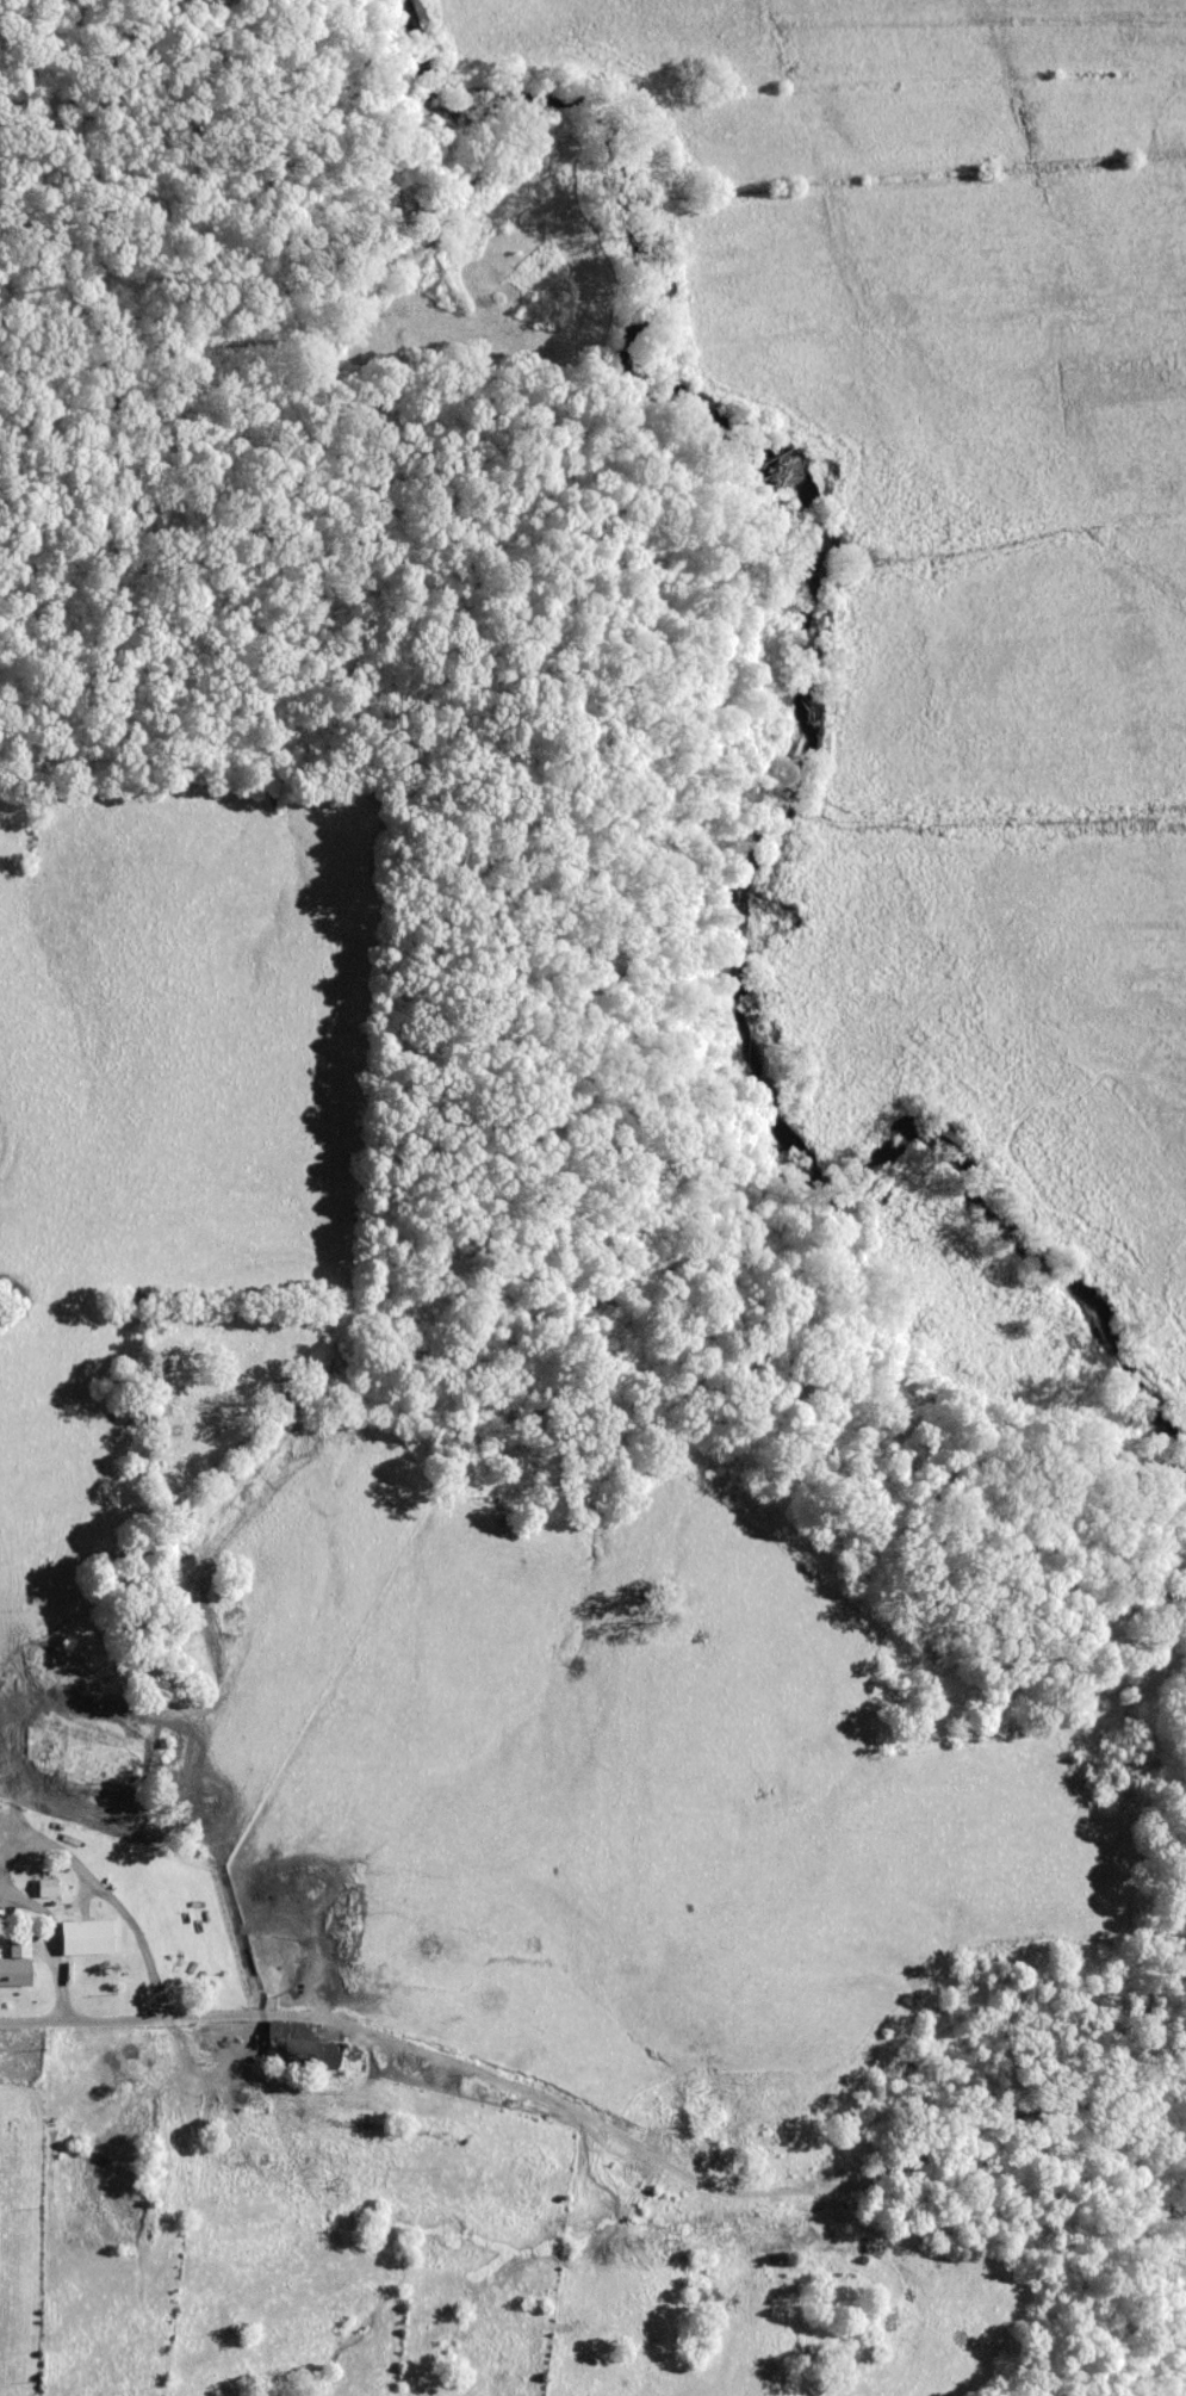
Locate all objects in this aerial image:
road: (62, 1255)
building: (87, 1936)
building: (15, 1963)
road: (60, 2036)
building: (299, 2045)

